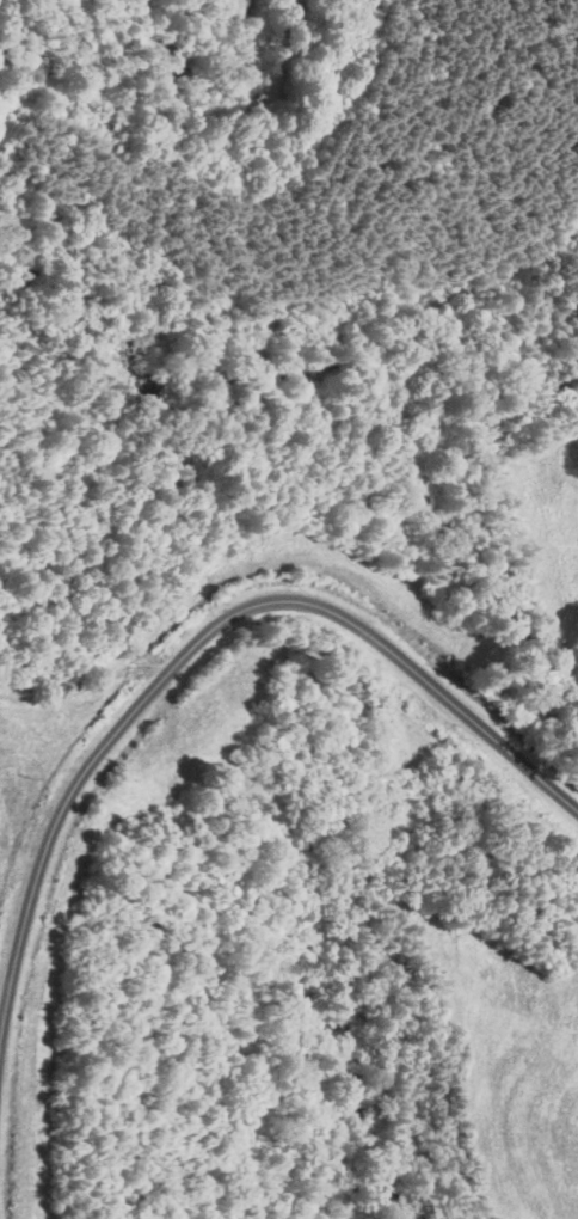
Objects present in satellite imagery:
road: (204, 638)

